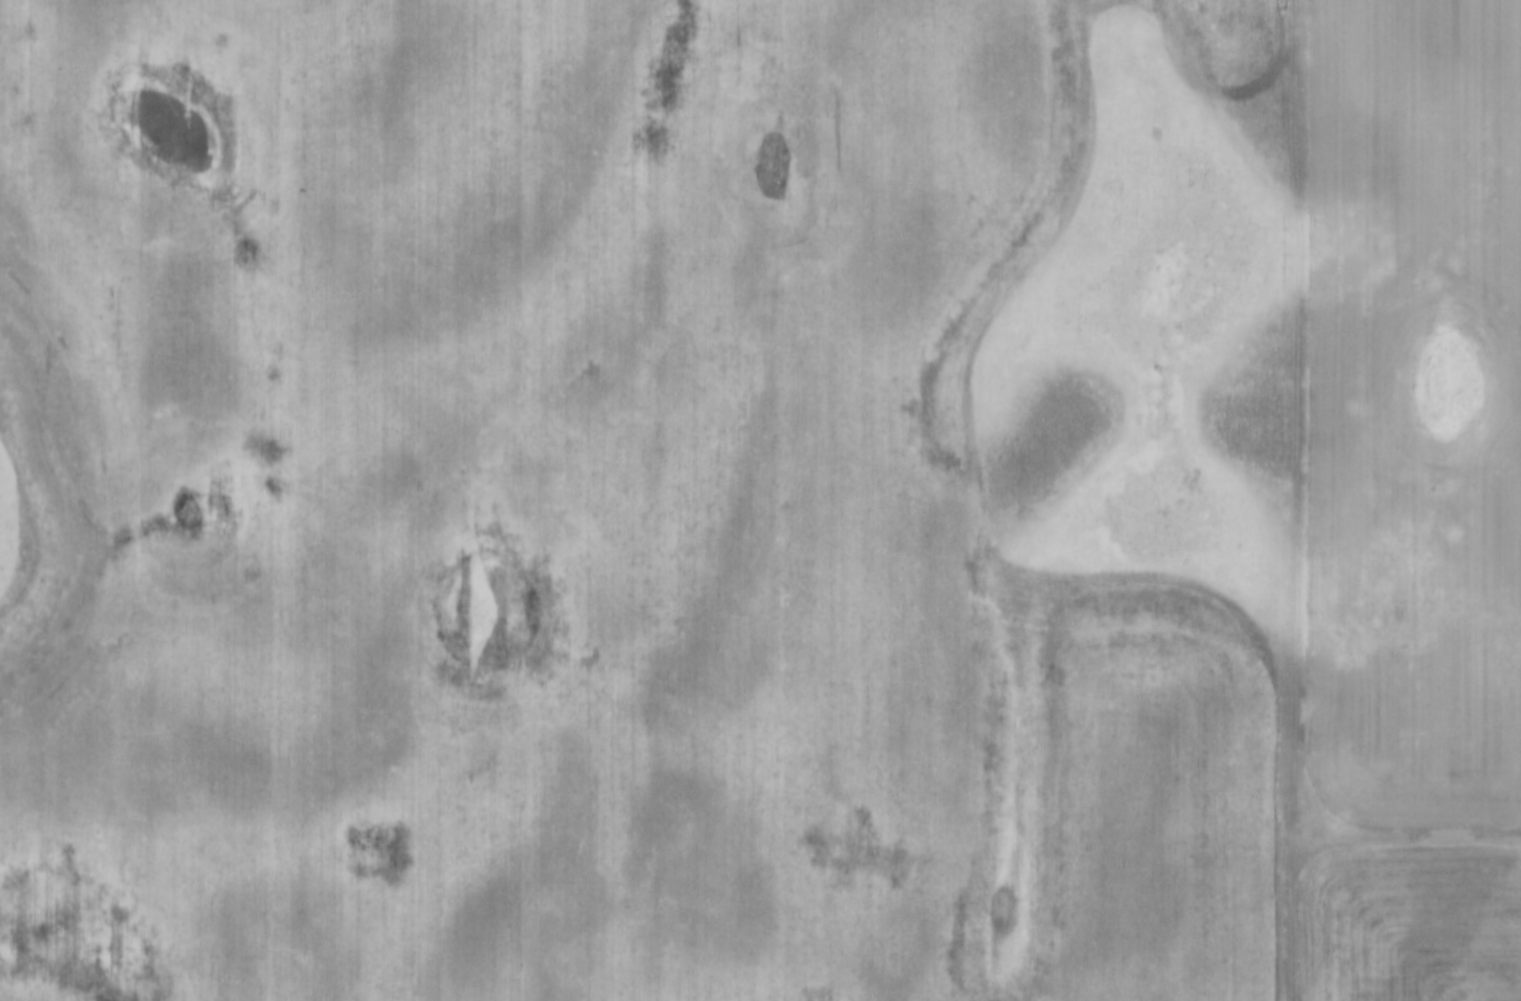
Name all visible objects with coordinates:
road: (1296, 500)

